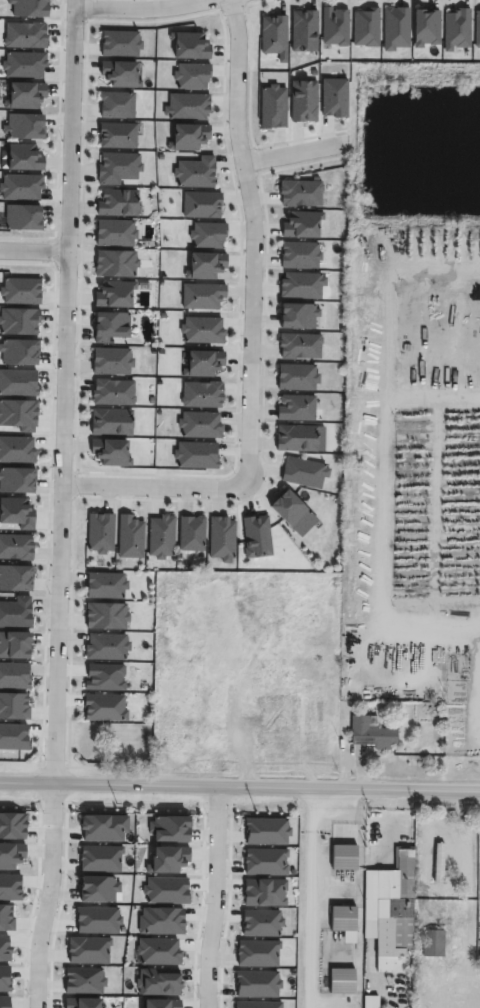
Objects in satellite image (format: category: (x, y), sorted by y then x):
road: (142, 9)
building: (334, 26)
building: (365, 26)
building: (303, 30)
building: (272, 33)
building: (24, 34)
building: (23, 64)
building: (120, 73)
building: (191, 76)
building: (334, 98)
building: (303, 100)
building: (116, 104)
building: (186, 106)
building: (117, 134)
building: (187, 135)
road: (294, 154)
building: (22, 157)
building: (116, 166)
building: (194, 172)
building: (300, 192)
building: (201, 204)
building: (22, 217)
building: (301, 224)
building: (115, 232)
building: (206, 234)
road: (34, 251)
building: (300, 254)
building: (205, 264)
building: (301, 284)
building: (20, 290)
building: (114, 294)
building: (203, 296)
building: (299, 315)
building: (202, 329)
road: (251, 331)
building: (299, 345)
building: (112, 360)
building: (201, 362)
building: (297, 377)
road: (65, 391)
building: (202, 393)
building: (295, 407)
building: (110, 422)
building: (199, 423)
building: (298, 438)
building: (17, 449)
building: (109, 451)
road: (392, 453)
building: (303, 473)
building: (17, 480)
building: (288, 509)
building: (11, 514)
building: (191, 532)
building: (129, 535)
building: (161, 536)
building: (221, 538)
building: (16, 547)
building: (105, 585)
building: (268, 602)
building: (14, 675)
building: (104, 707)
building: (271, 711)
building: (371, 732)
road: (240, 785)
road: (388, 825)
building: (4, 853)
building: (441, 856)
building: (343, 859)
road: (45, 895)
road: (214, 896)
road: (312, 897)
building: (396, 910)
building: (342, 919)
building: (434, 944)
building: (341, 984)

